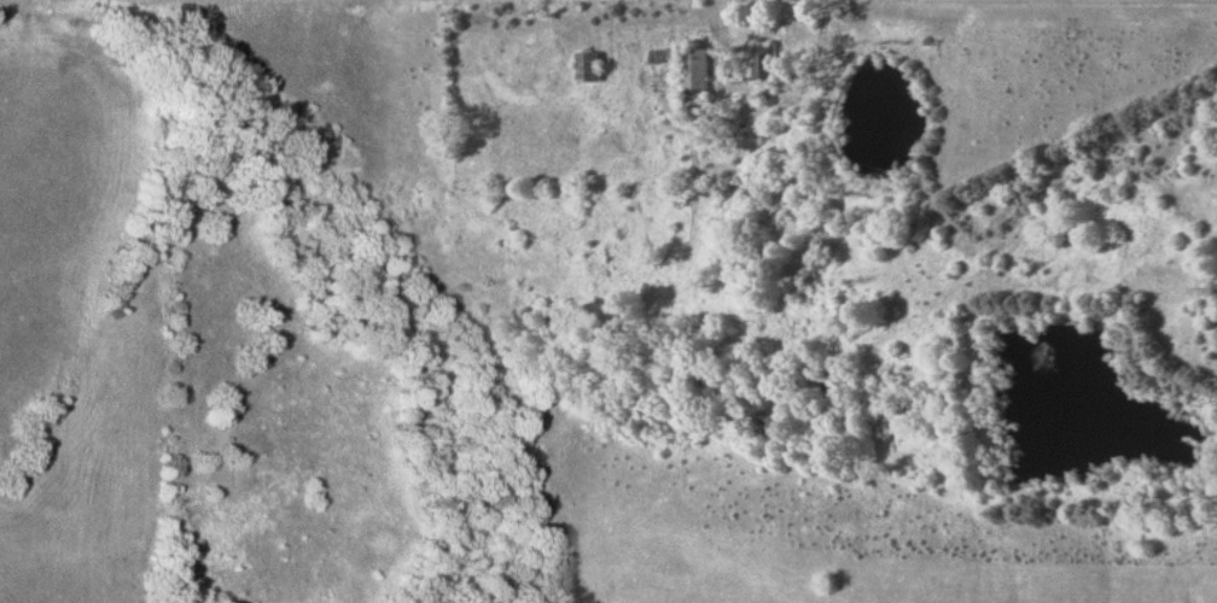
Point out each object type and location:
building: (763, 63)
building: (588, 69)
building: (688, 76)
road: (763, 109)

